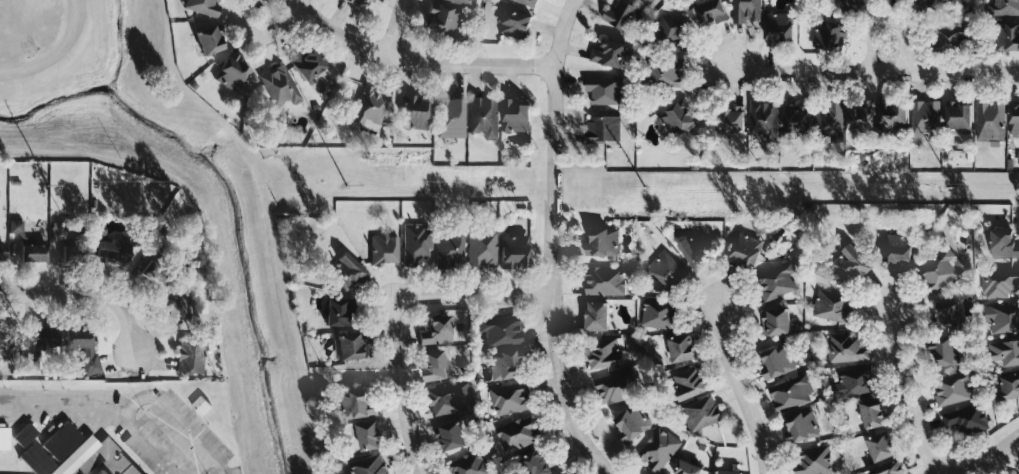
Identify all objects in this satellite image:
building: (648, 1)
building: (528, 2)
building: (362, 3)
building: (462, 3)
building: (845, 4)
building: (934, 4)
building: (203, 7)
building: (1002, 7)
building: (708, 9)
building: (745, 11)
building: (623, 16)
road: (888, 18)
building: (446, 21)
building: (514, 23)
road: (395, 27)
building: (779, 27)
road: (560, 31)
park: (35, 32)
building: (673, 33)
building: (829, 36)
building: (1007, 36)
building: (949, 37)
road: (266, 39)
building: (210, 40)
building: (609, 53)
road: (421, 60)
building: (305, 62)
building: (665, 72)
road: (816, 72)
building: (232, 73)
road: (962, 73)
building: (280, 87)
building: (604, 89)
building: (370, 108)
building: (416, 113)
building: (515, 115)
building: (860, 115)
building: (958, 115)
building: (891, 116)
building: (483, 117)
building: (677, 117)
building: (762, 117)
building: (451, 118)
building: (730, 119)
building: (1014, 119)
building: (796, 120)
building: (924, 120)
building: (990, 120)
building: (829, 121)
building: (603, 128)
building: (604, 241)
building: (415, 243)
building: (1004, 243)
building: (111, 248)
building: (450, 249)
building: (482, 249)
building: (697, 249)
building: (896, 249)
building: (384, 250)
building: (744, 250)
building: (514, 251)
building: (2, 252)
building: (34, 253)
building: (68, 253)
building: (849, 264)
building: (940, 269)
building: (667, 272)
building: (349, 273)
road: (552, 276)
building: (604, 280)
building: (776, 281)
building: (998, 282)
road: (471, 295)
road: (84, 298)
building: (831, 305)
building: (176, 307)
building: (337, 313)
building: (659, 314)
building: (947, 314)
building: (597, 315)
building: (1001, 318)
building: (776, 321)
building: (437, 331)
building: (500, 331)
building: (79, 339)
building: (9, 340)
building: (40, 346)
building: (348, 347)
building: (846, 347)
building: (681, 348)
building: (946, 350)
building: (1005, 351)
building: (607, 353)
building: (190, 357)
building: (775, 361)
building: (505, 364)
building: (436, 365)
building: (690, 382)
building: (853, 382)
building: (1008, 385)
building: (616, 386)
building: (953, 388)
road: (738, 389)
road: (398, 390)
building: (791, 393)
road: (906, 394)
road: (157, 395)
building: (510, 397)
building: (449, 398)
building: (356, 402)
building: (200, 404)
building: (700, 413)
building: (872, 413)
building: (966, 419)
building: (632, 422)
building: (800, 426)
building: (518, 433)
building: (369, 435)
building: (24, 436)
building: (451, 436)
building: (4, 439)
building: (881, 446)
building: (658, 449)
building: (87, 452)
road: (990, 453)
building: (812, 461)
building: (535, 463)
building: (469, 464)
building: (368, 465)
building: (689, 468)
building: (889, 469)
building: (728, 472)
building: (557, 473)
building: (561, 473)

